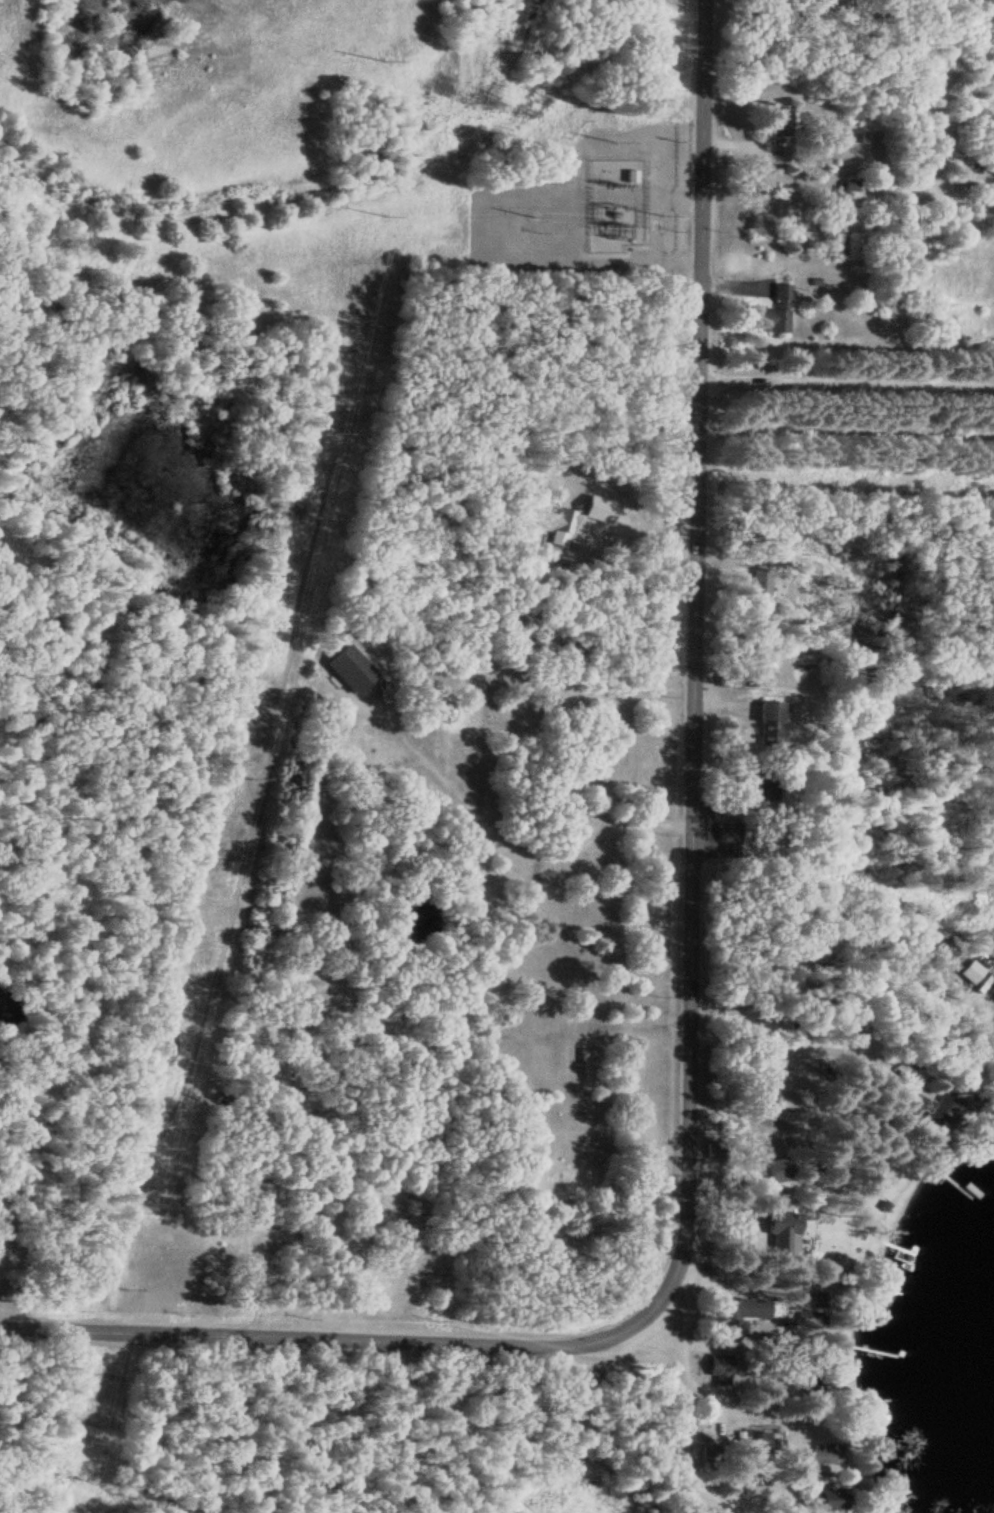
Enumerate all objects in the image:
quarry: (132, 55)
building: (781, 119)
power substation: (614, 204)
road: (655, 212)
building: (855, 243)
road: (515, 260)
building: (777, 312)
road: (846, 383)
building: (559, 527)
building: (358, 674)
building: (771, 723)
building: (728, 824)
building: (973, 970)
road: (691, 990)
building: (986, 1064)
building: (929, 1107)
building: (744, 1312)
road: (683, 1416)
building: (834, 1499)

